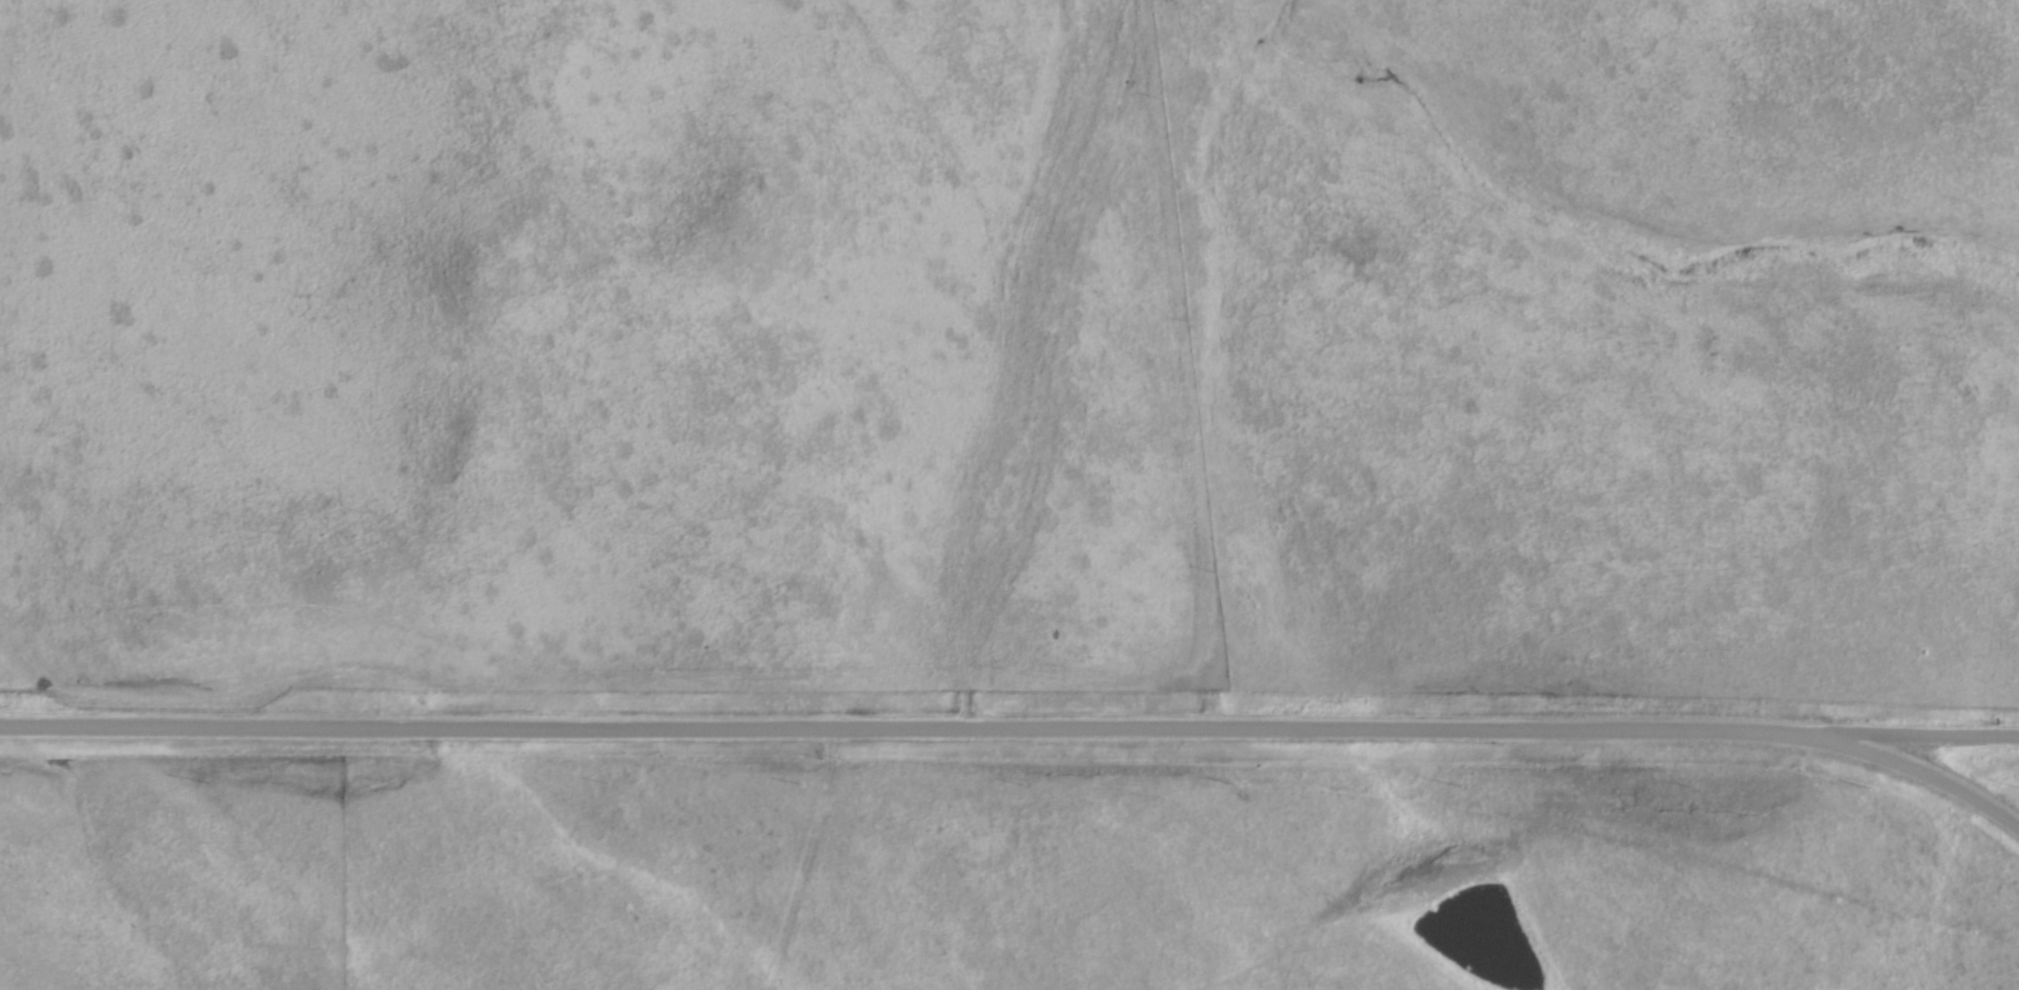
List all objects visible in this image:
road: (1009, 738)
road: (1915, 771)

